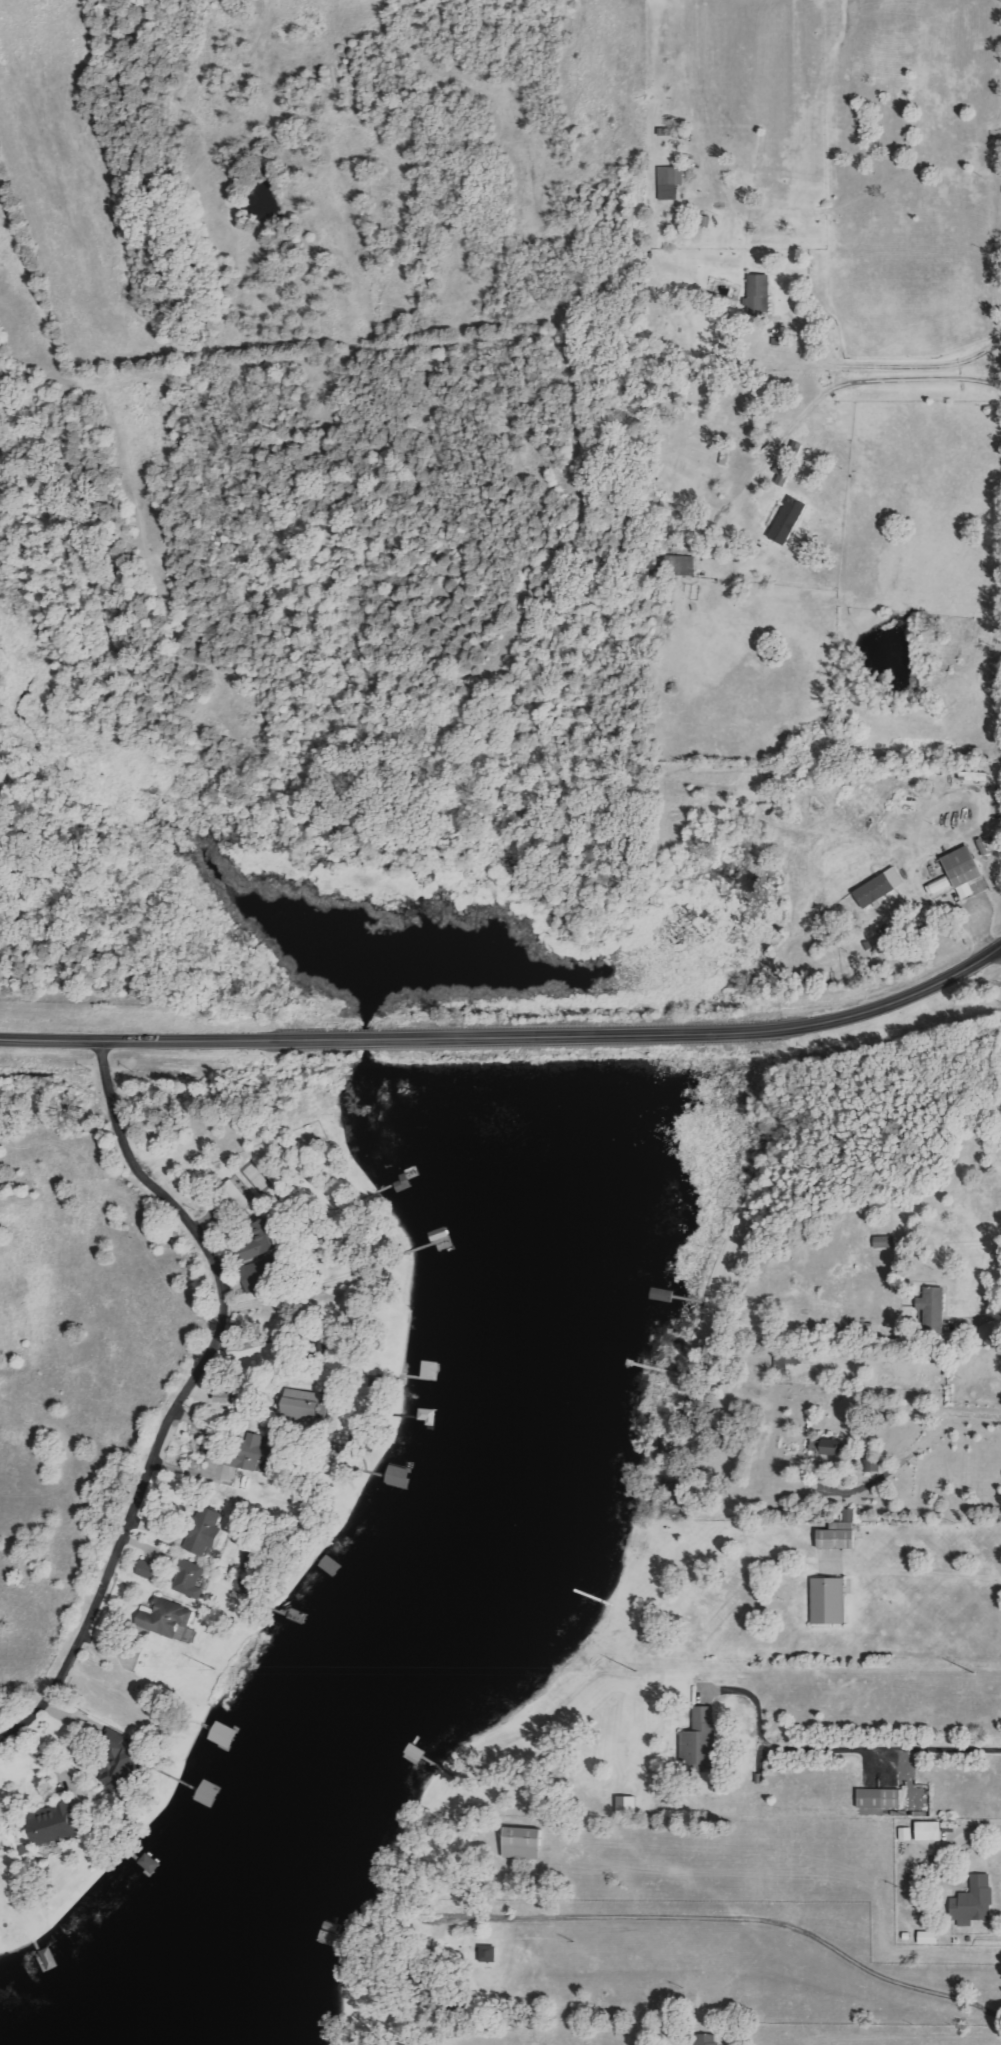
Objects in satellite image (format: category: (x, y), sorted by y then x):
building: (671, 182)
building: (758, 298)
building: (789, 463)
building: (790, 519)
building: (682, 565)
building: (966, 869)
building: (942, 884)
building: (881, 887)
building: (889, 939)
road: (508, 1036)
building: (238, 1194)
building: (261, 1241)
building: (257, 1277)
building: (933, 1303)
building: (784, 1362)
road: (184, 1385)
building: (227, 1397)
building: (307, 1406)
building: (833, 1446)
building: (254, 1452)
building: (873, 1465)
building: (206, 1532)
building: (841, 1533)
building: (151, 1570)
building: (192, 1579)
building: (829, 1601)
building: (167, 1617)
power tower: (214, 1668)
power tower: (635, 1670)
power tower: (974, 1674)
building: (701, 1738)
building: (881, 1798)
building: (628, 1806)
building: (58, 1824)
building: (930, 1831)
building: (907, 1834)
building: (1, 1841)
building: (525, 1843)
building: (150, 1863)
building: (976, 1901)
building: (930, 1938)
building: (489, 1954)
building: (706, 2040)

